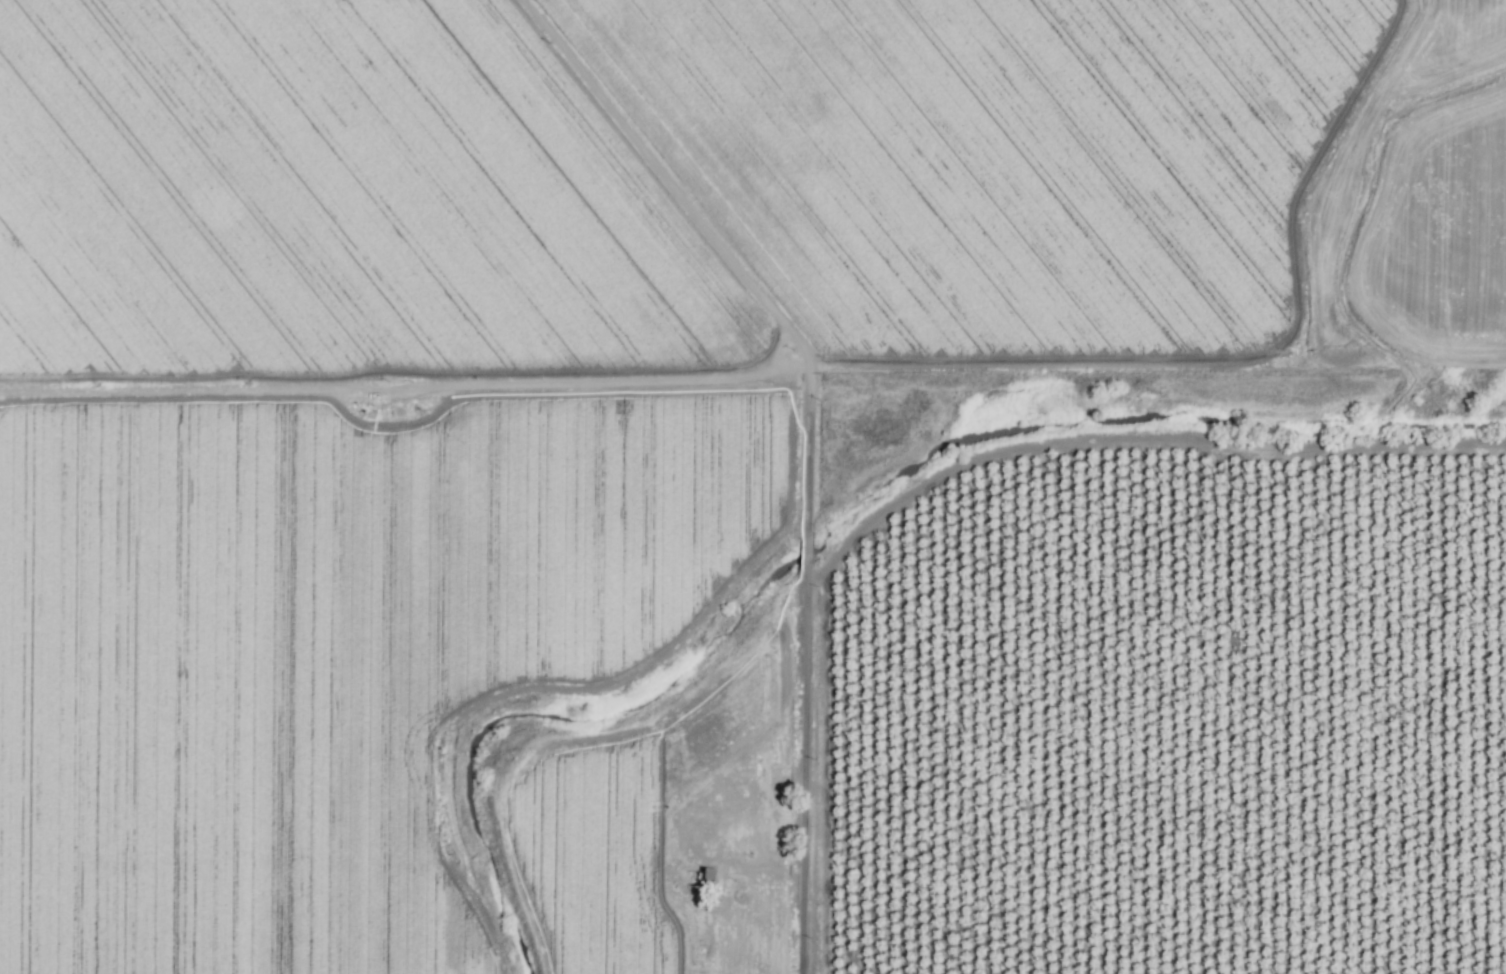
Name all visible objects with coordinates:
road: (814, 436)
building: (761, 773)
building: (690, 877)

